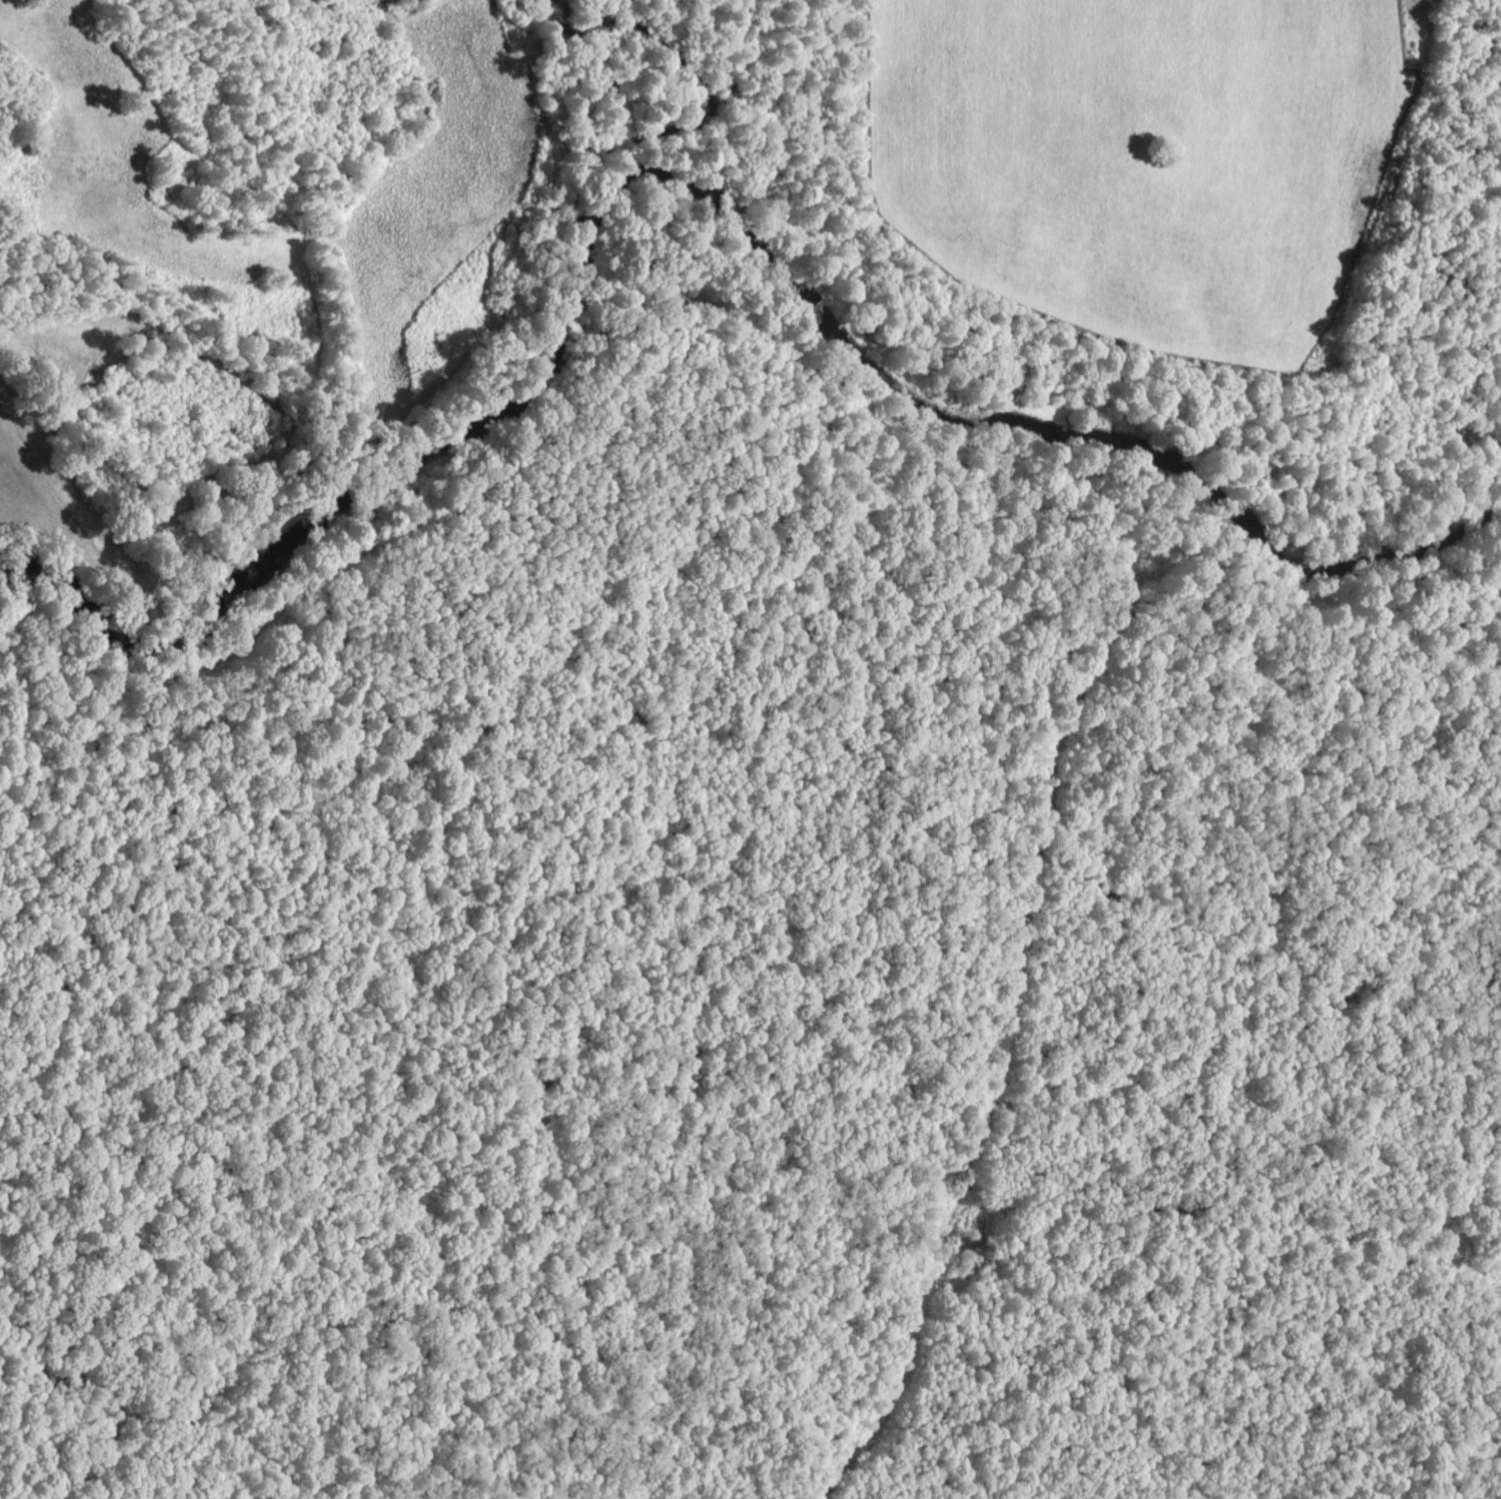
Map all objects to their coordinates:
river: (708, 216)

